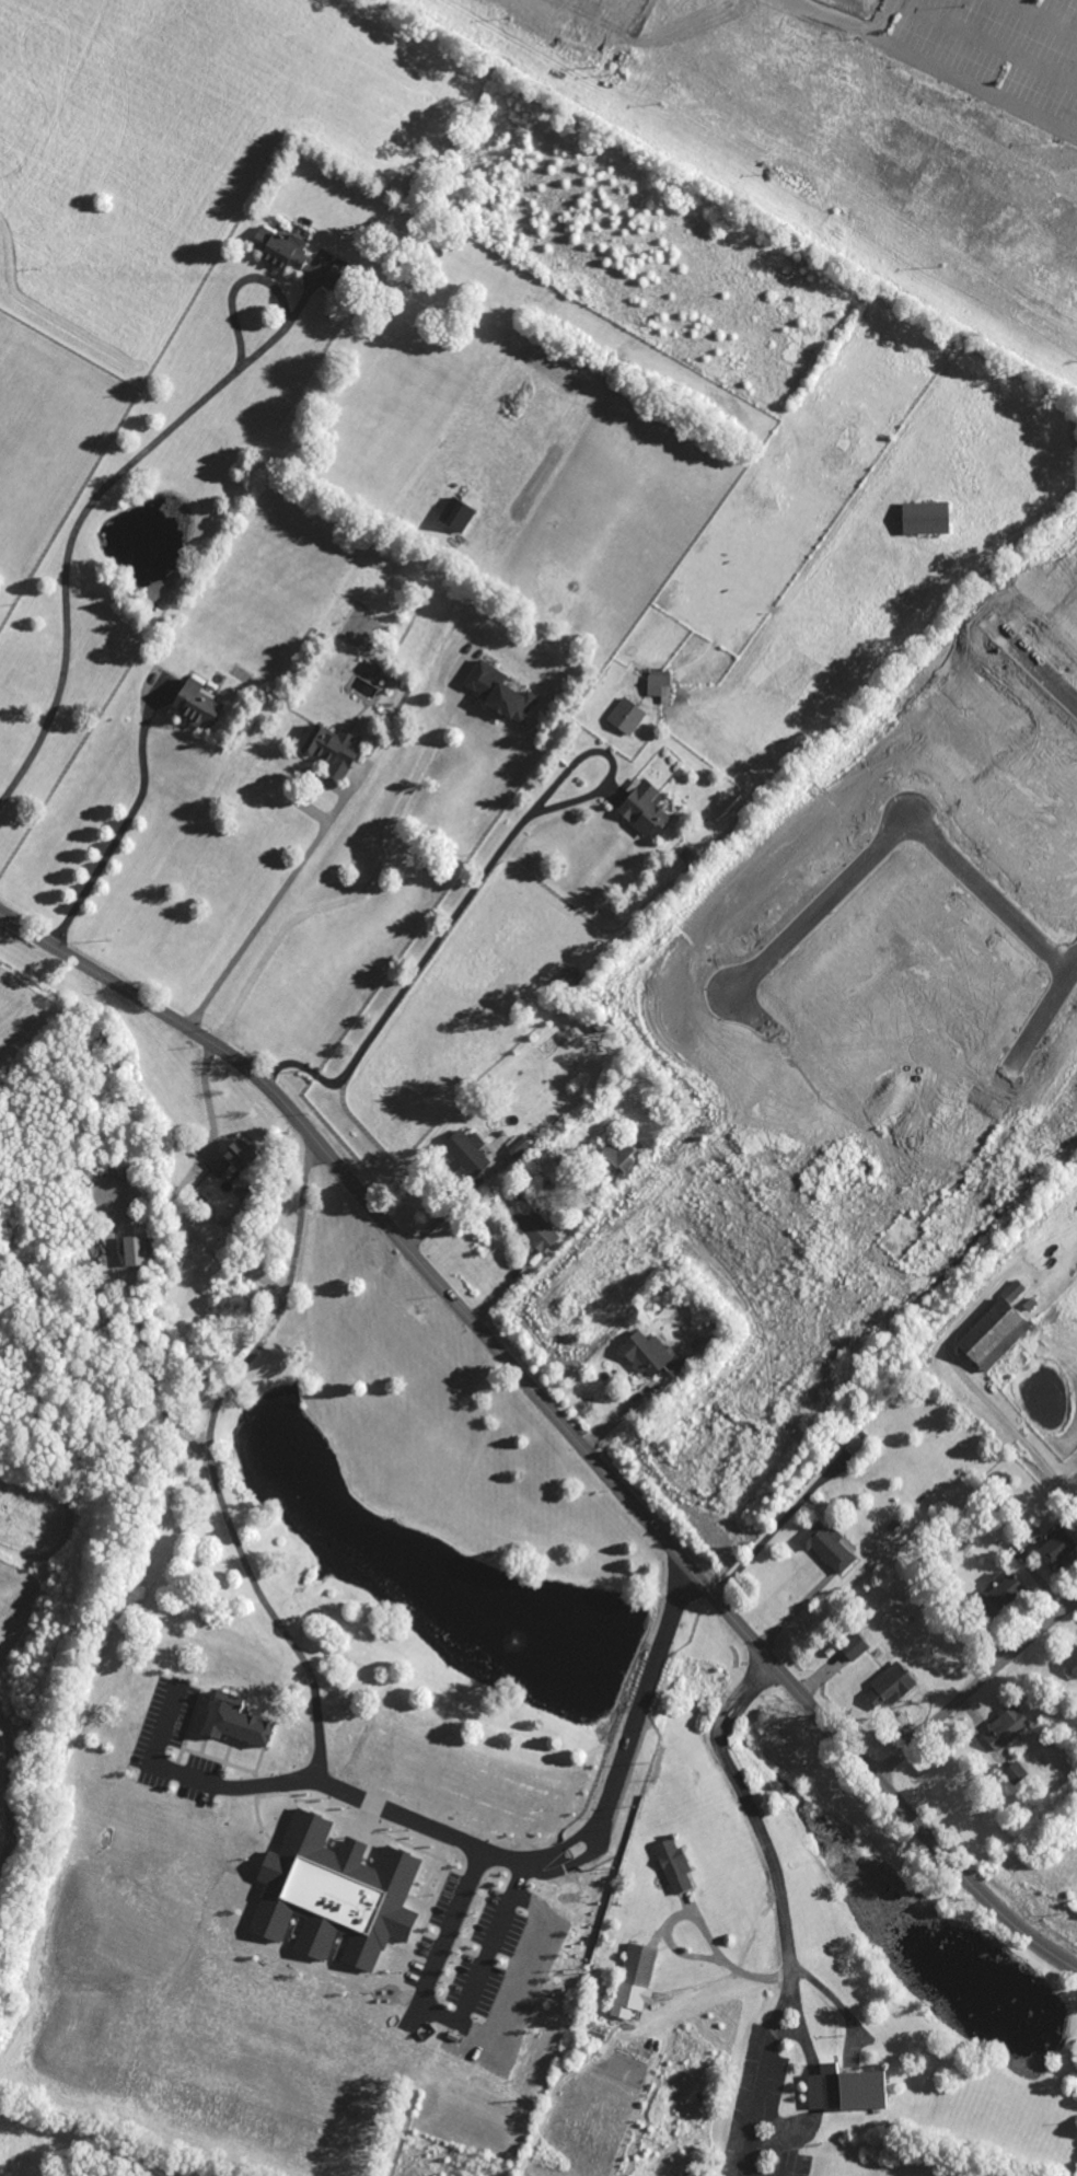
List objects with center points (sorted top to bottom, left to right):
road: (1042, 15)
road: (880, 18)
road: (985, 42)
road: (934, 65)
building: (279, 251)
building: (337, 276)
road: (262, 280)
building: (455, 516)
building: (925, 519)
road: (65, 553)
building: (372, 669)
road: (1031, 675)
building: (658, 685)
building: (506, 696)
building: (197, 705)
building: (625, 717)
building: (331, 751)
building: (644, 807)
road: (124, 819)
road: (889, 842)
road: (300, 864)
road: (471, 893)
road: (358, 895)
road: (1045, 1002)
road: (209, 1100)
building: (519, 1146)
building: (465, 1151)
building: (239, 1155)
building: (617, 1156)
building: (529, 1220)
building: (136, 1250)
building: (993, 1334)
building: (649, 1354)
road: (974, 1388)
road: (623, 1411)
road: (557, 1420)
building: (827, 1546)
building: (1055, 1549)
road: (251, 1574)
building: (1004, 1590)
road: (794, 1616)
building: (853, 1647)
building: (1072, 1663)
building: (888, 1687)
road: (974, 1687)
road: (638, 1697)
building: (222, 1717)
building: (1005, 1729)
road: (199, 1773)
building: (1015, 1773)
building: (195, 1787)
road: (569, 1841)
road: (766, 1844)
road: (578, 1857)
building: (673, 1866)
building: (335, 1893)
building: (633, 1981)
road: (783, 2005)
road: (838, 2005)
road: (441, 2017)
building: (845, 2090)

